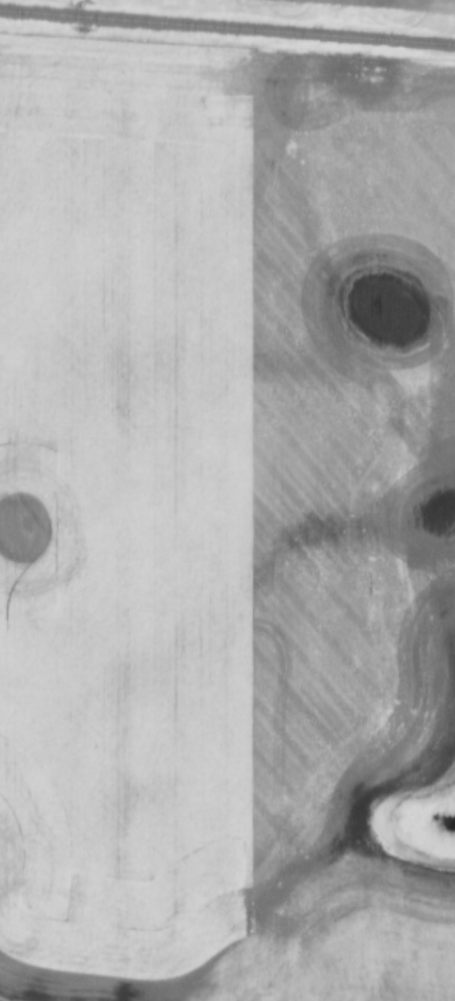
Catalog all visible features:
railway: (227, 29)

